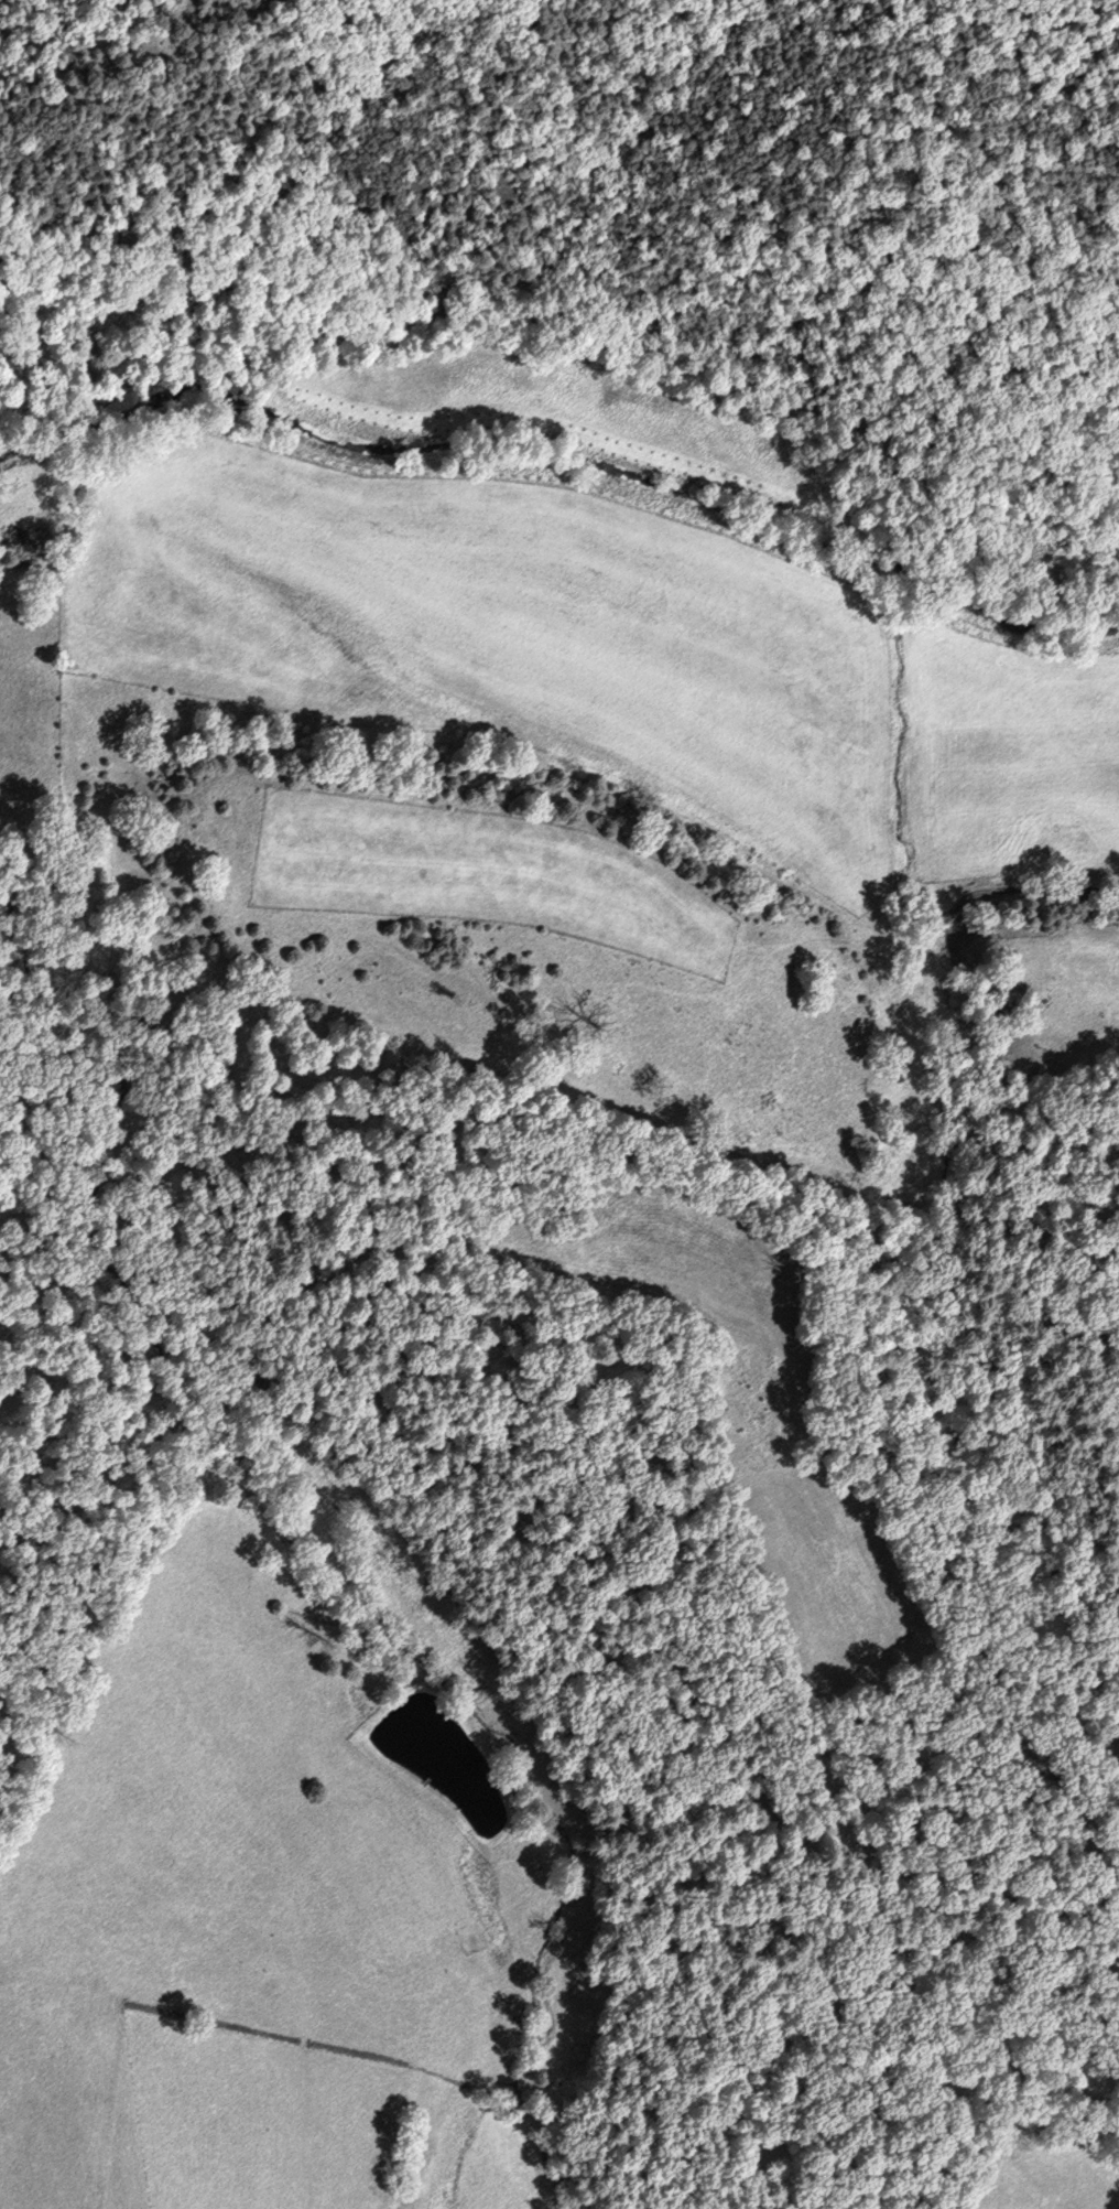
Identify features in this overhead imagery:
road: (2, 593)
road: (1000, 893)

